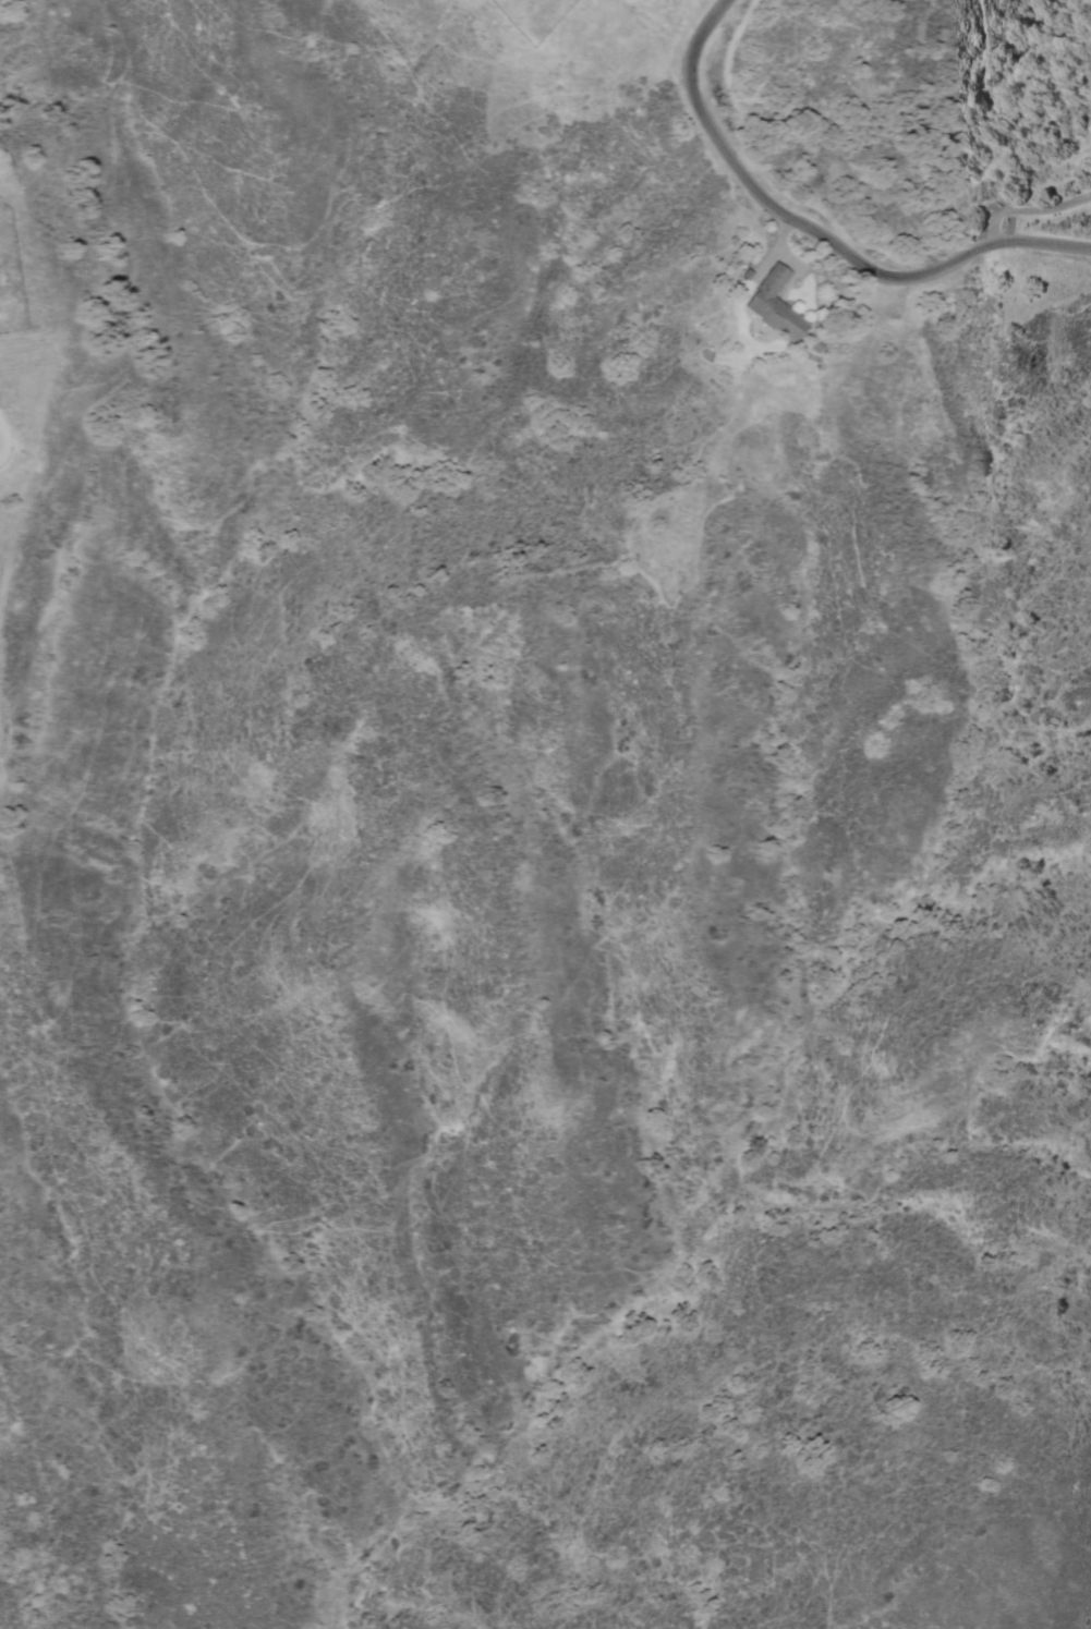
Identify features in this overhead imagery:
road: (1078, 5)
road: (834, 122)
road: (1034, 209)
road: (820, 231)
building: (773, 304)
road: (1033, 320)
road: (1063, 535)

